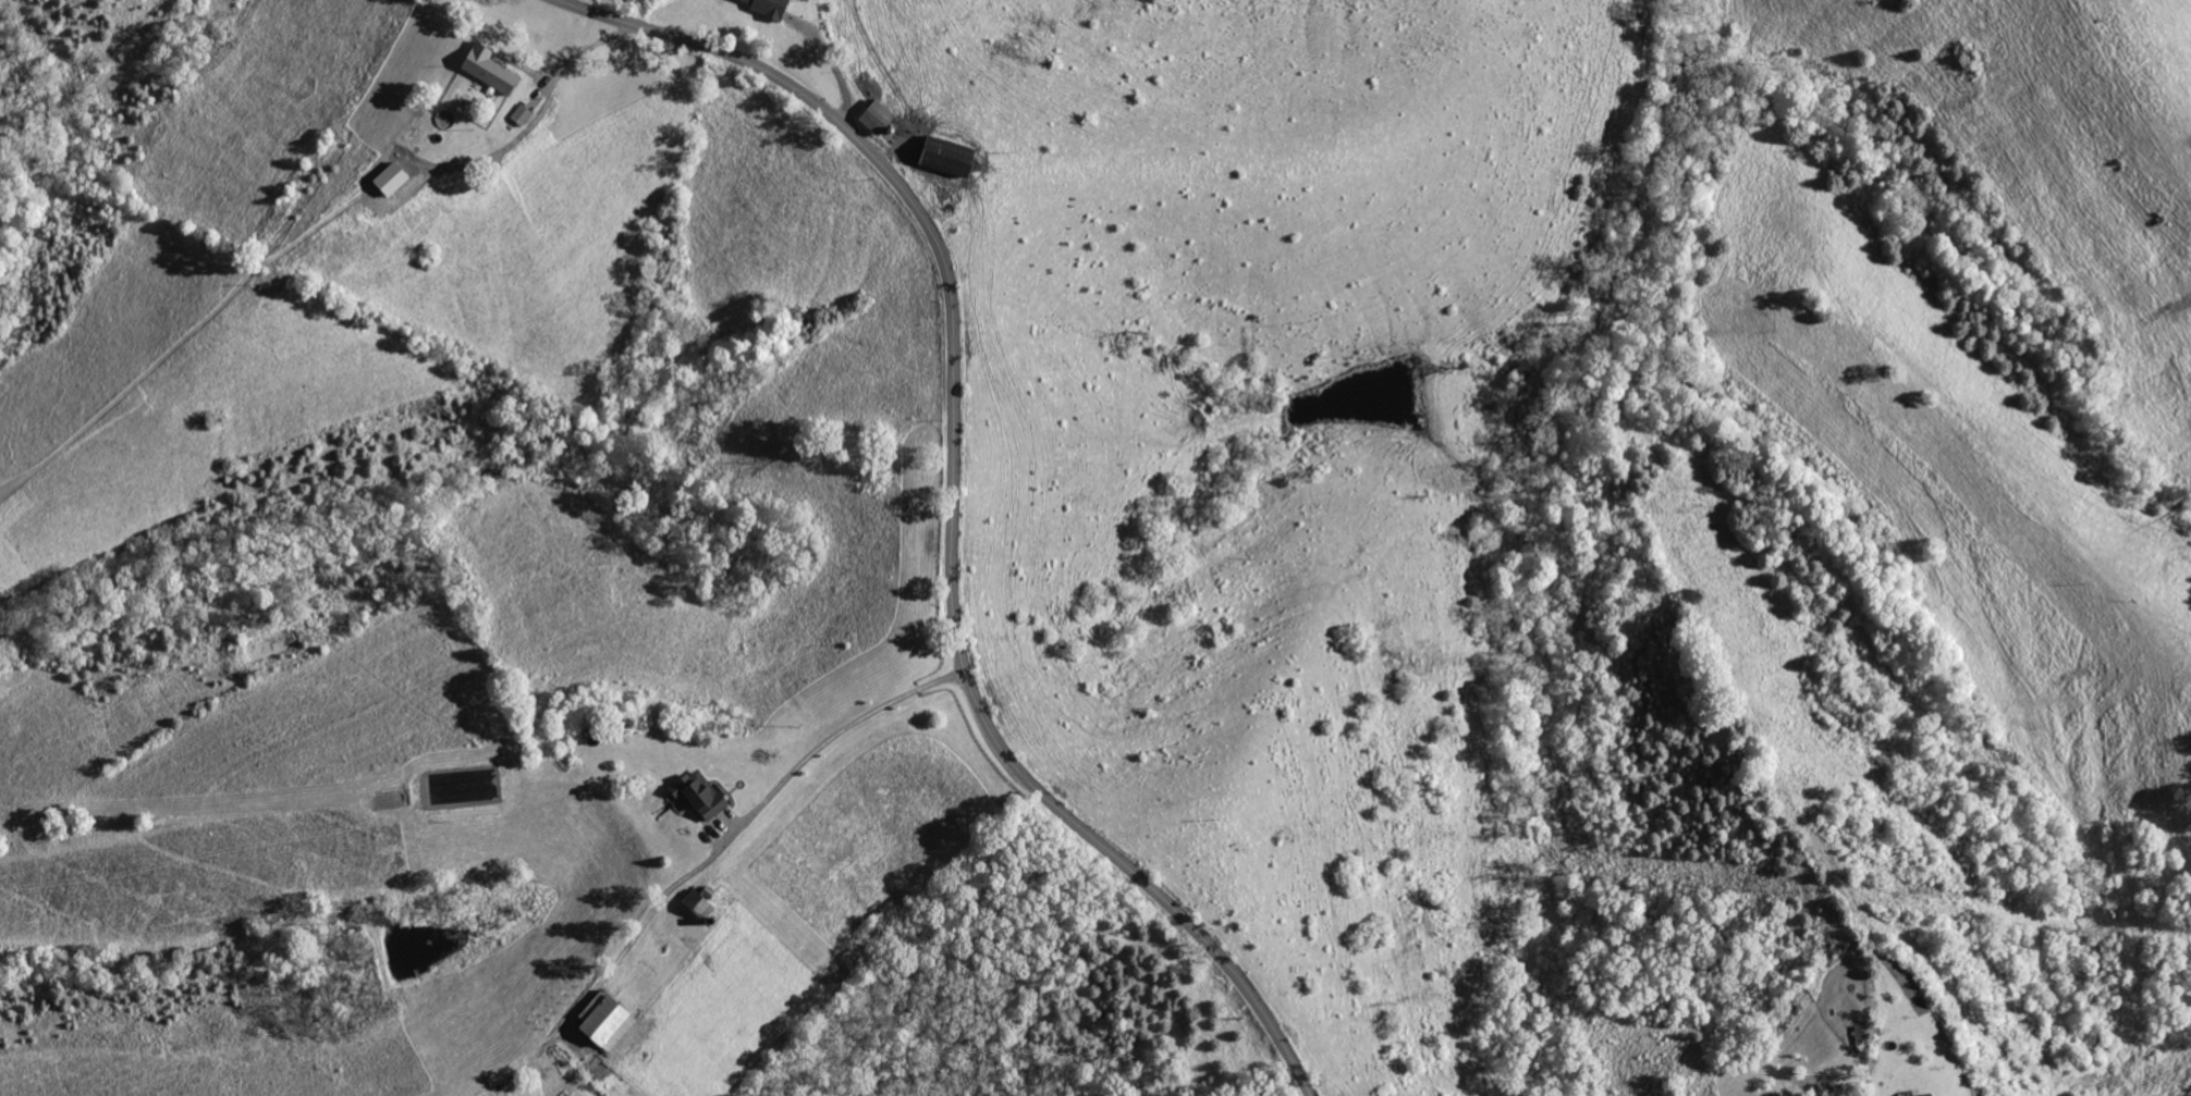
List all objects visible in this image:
building: (768, 7)
road: (587, 52)
building: (491, 70)
road: (836, 75)
building: (523, 114)
building: (879, 118)
building: (951, 158)
road: (953, 501)
road: (819, 761)
building: (702, 792)
building: (701, 903)
building: (608, 1020)

